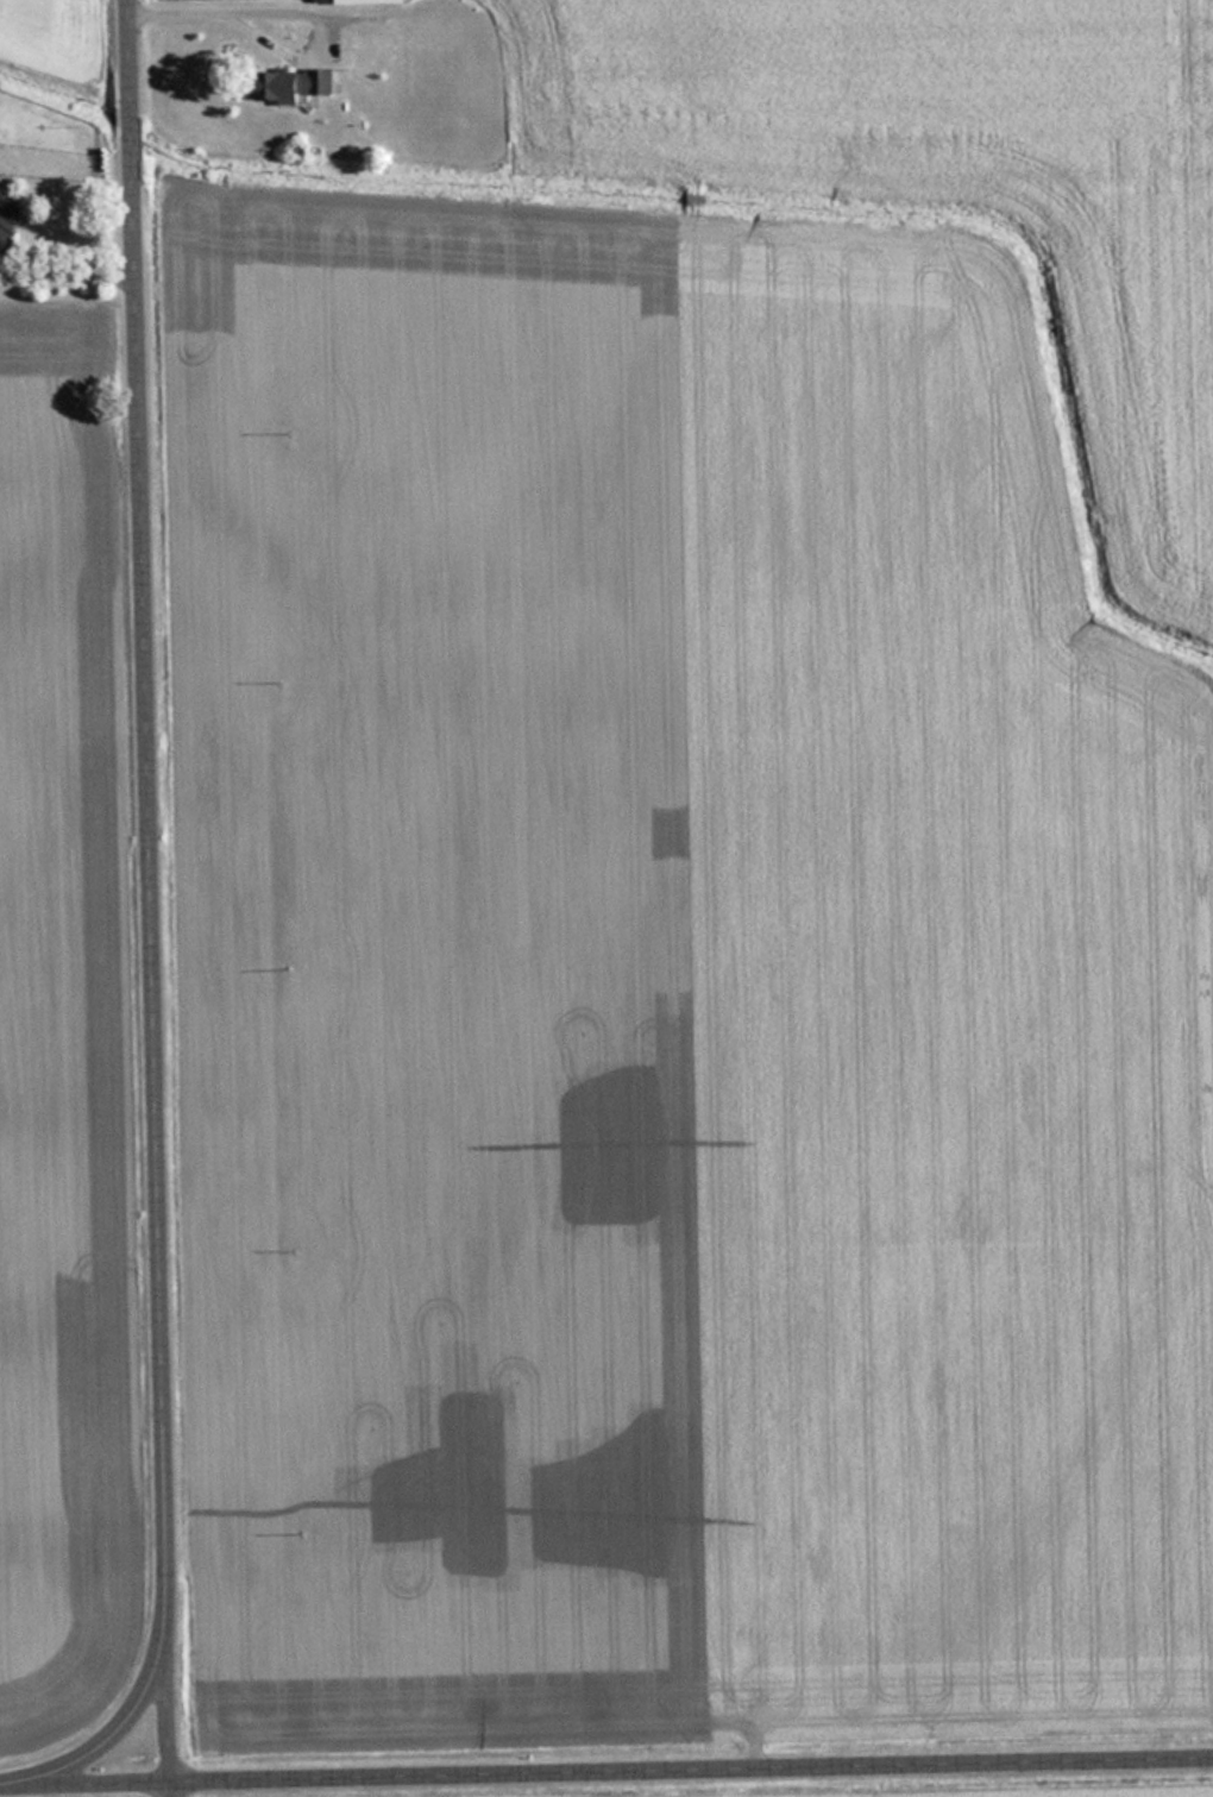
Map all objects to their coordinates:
building: (365, 1)
building: (295, 84)
building: (10, 225)
road: (159, 898)
road: (606, 1778)

